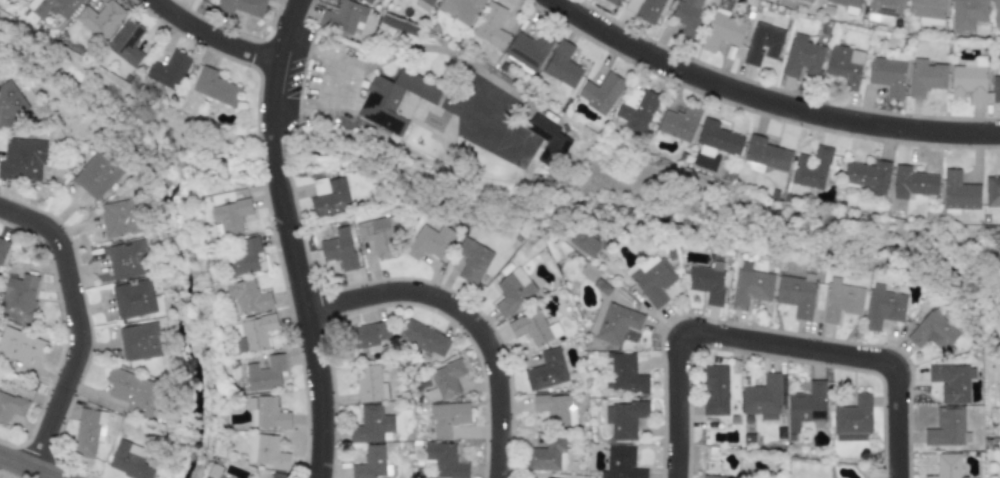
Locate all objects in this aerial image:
building: (369, 1)
building: (611, 1)
building: (805, 1)
building: (424, 4)
building: (848, 5)
building: (241, 6)
building: (52, 7)
building: (644, 8)
building: (885, 9)
building: (460, 11)
building: (927, 11)
building: (967, 13)
building: (996, 13)
building: (687, 17)
building: (345, 18)
building: (100, 19)
building: (490, 25)
building: (722, 32)
road: (214, 36)
building: (126, 42)
building: (762, 43)
building: (528, 50)
building: (802, 56)
building: (844, 65)
building: (562, 66)
building: (169, 70)
building: (887, 75)
building: (925, 77)
building: (968, 80)
road: (331, 84)
building: (215, 87)
building: (995, 88)
building: (600, 92)
road: (131, 98)
building: (394, 100)
road: (766, 102)
building: (10, 104)
building: (636, 110)
building: (678, 123)
building: (717, 139)
building: (548, 141)
building: (764, 155)
building: (22, 159)
building: (812, 169)
building: (96, 176)
building: (868, 176)
building: (912, 182)
road: (652, 189)
building: (992, 191)
building: (958, 192)
building: (329, 195)
building: (229, 217)
building: (118, 218)
building: (378, 236)
road: (292, 237)
building: (429, 242)
building: (583, 244)
building: (2, 247)
building: (338, 249)
building: (243, 258)
building: (126, 260)
building: (472, 260)
building: (652, 279)
building: (706, 281)
building: (750, 286)
building: (512, 291)
building: (796, 294)
building: (248, 296)
building: (17, 298)
building: (132, 299)
building: (841, 301)
building: (882, 307)
road: (467, 319)
building: (612, 320)
road: (81, 321)
building: (533, 328)
building: (933, 330)
building: (255, 333)
building: (369, 335)
building: (424, 338)
building: (139, 342)
road: (771, 343)
building: (19, 346)
building: (546, 370)
building: (264, 374)
building: (624, 374)
building: (443, 380)
building: (951, 381)
building: (369, 383)
building: (715, 390)
building: (133, 392)
building: (999, 393)
building: (762, 398)
building: (10, 407)
building: (556, 408)
building: (805, 408)
building: (266, 413)
building: (446, 418)
building: (624, 418)
building: (853, 419)
building: (370, 424)
building: (947, 428)
building: (87, 432)
building: (266, 451)
building: (546, 454)
building: (444, 460)
building: (132, 461)
building: (369, 463)
building: (621, 464)
road: (29, 465)
building: (947, 466)
building: (999, 469)
building: (213, 471)
building: (278, 475)
building: (711, 476)

